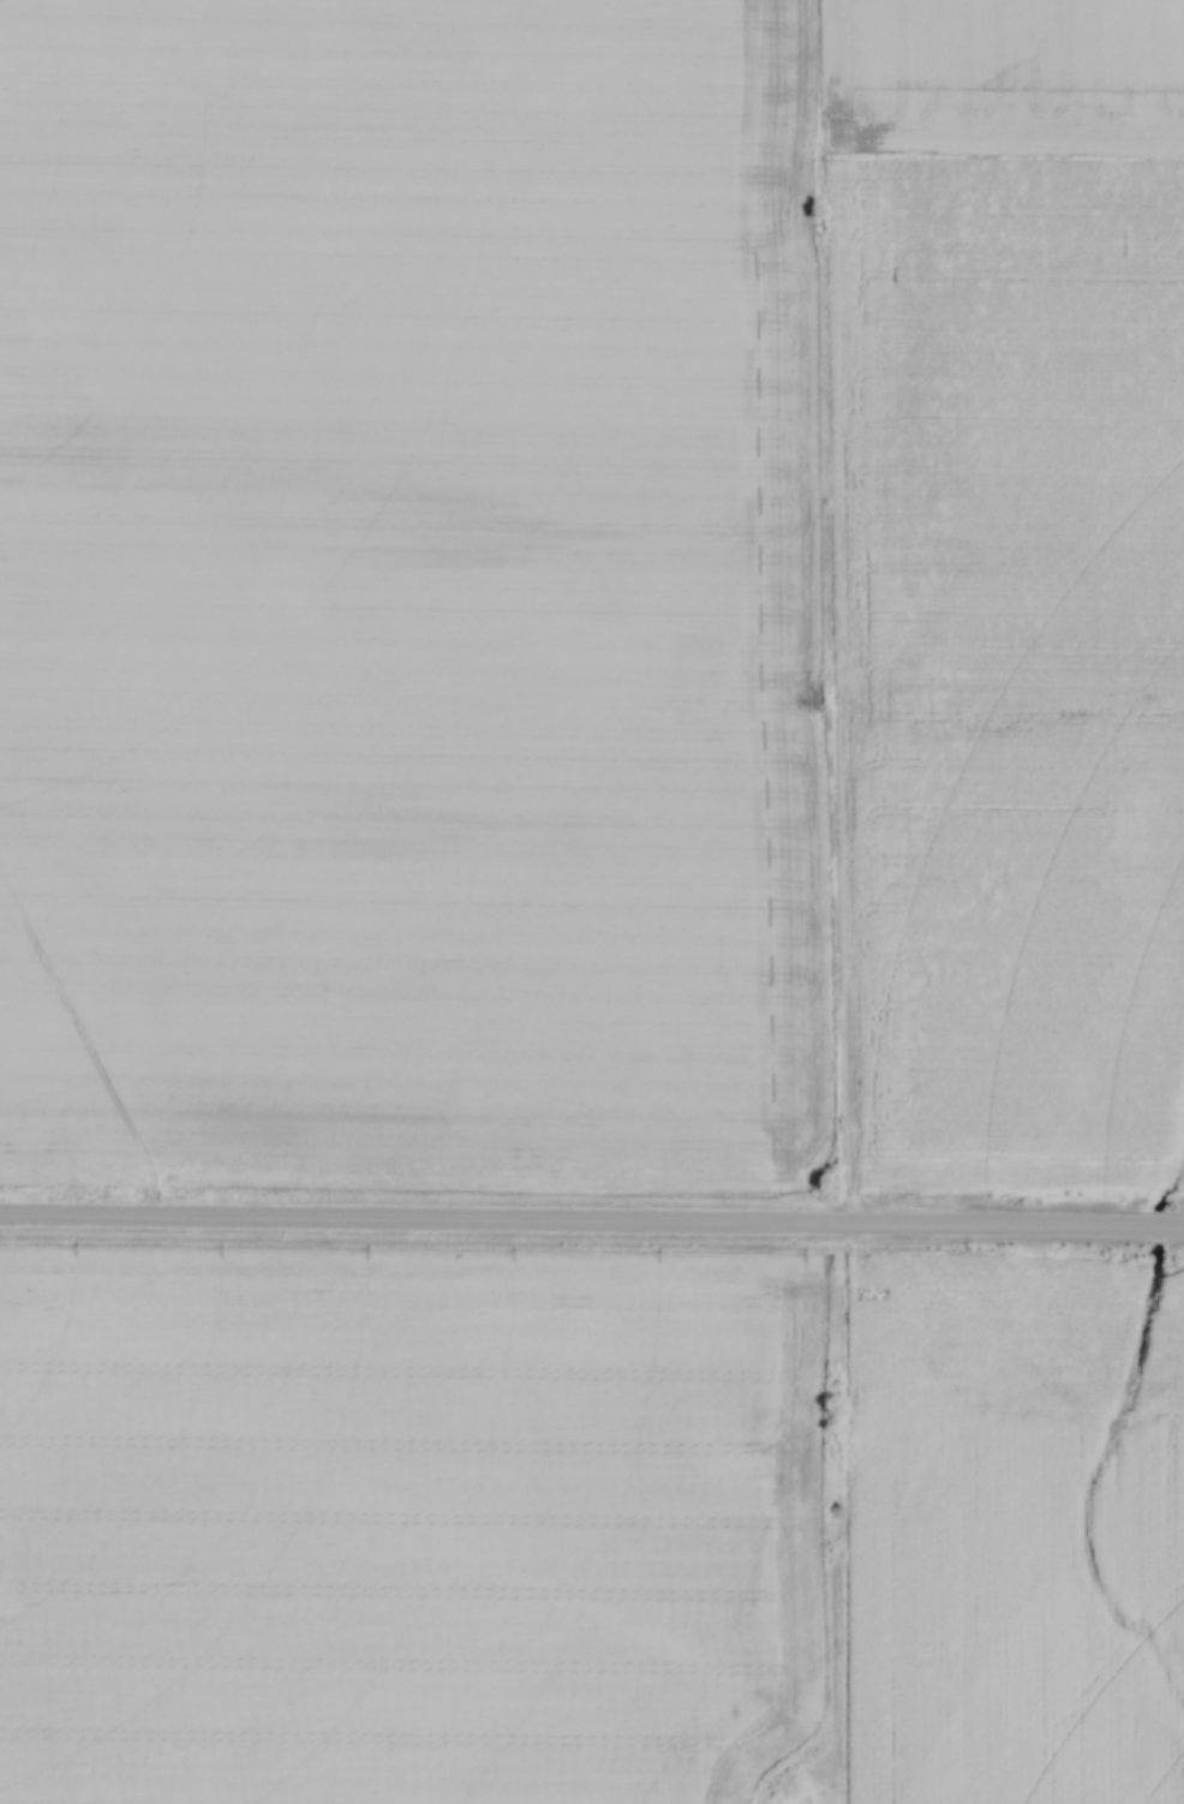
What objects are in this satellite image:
road: (592, 1229)
road: (483, 1420)

